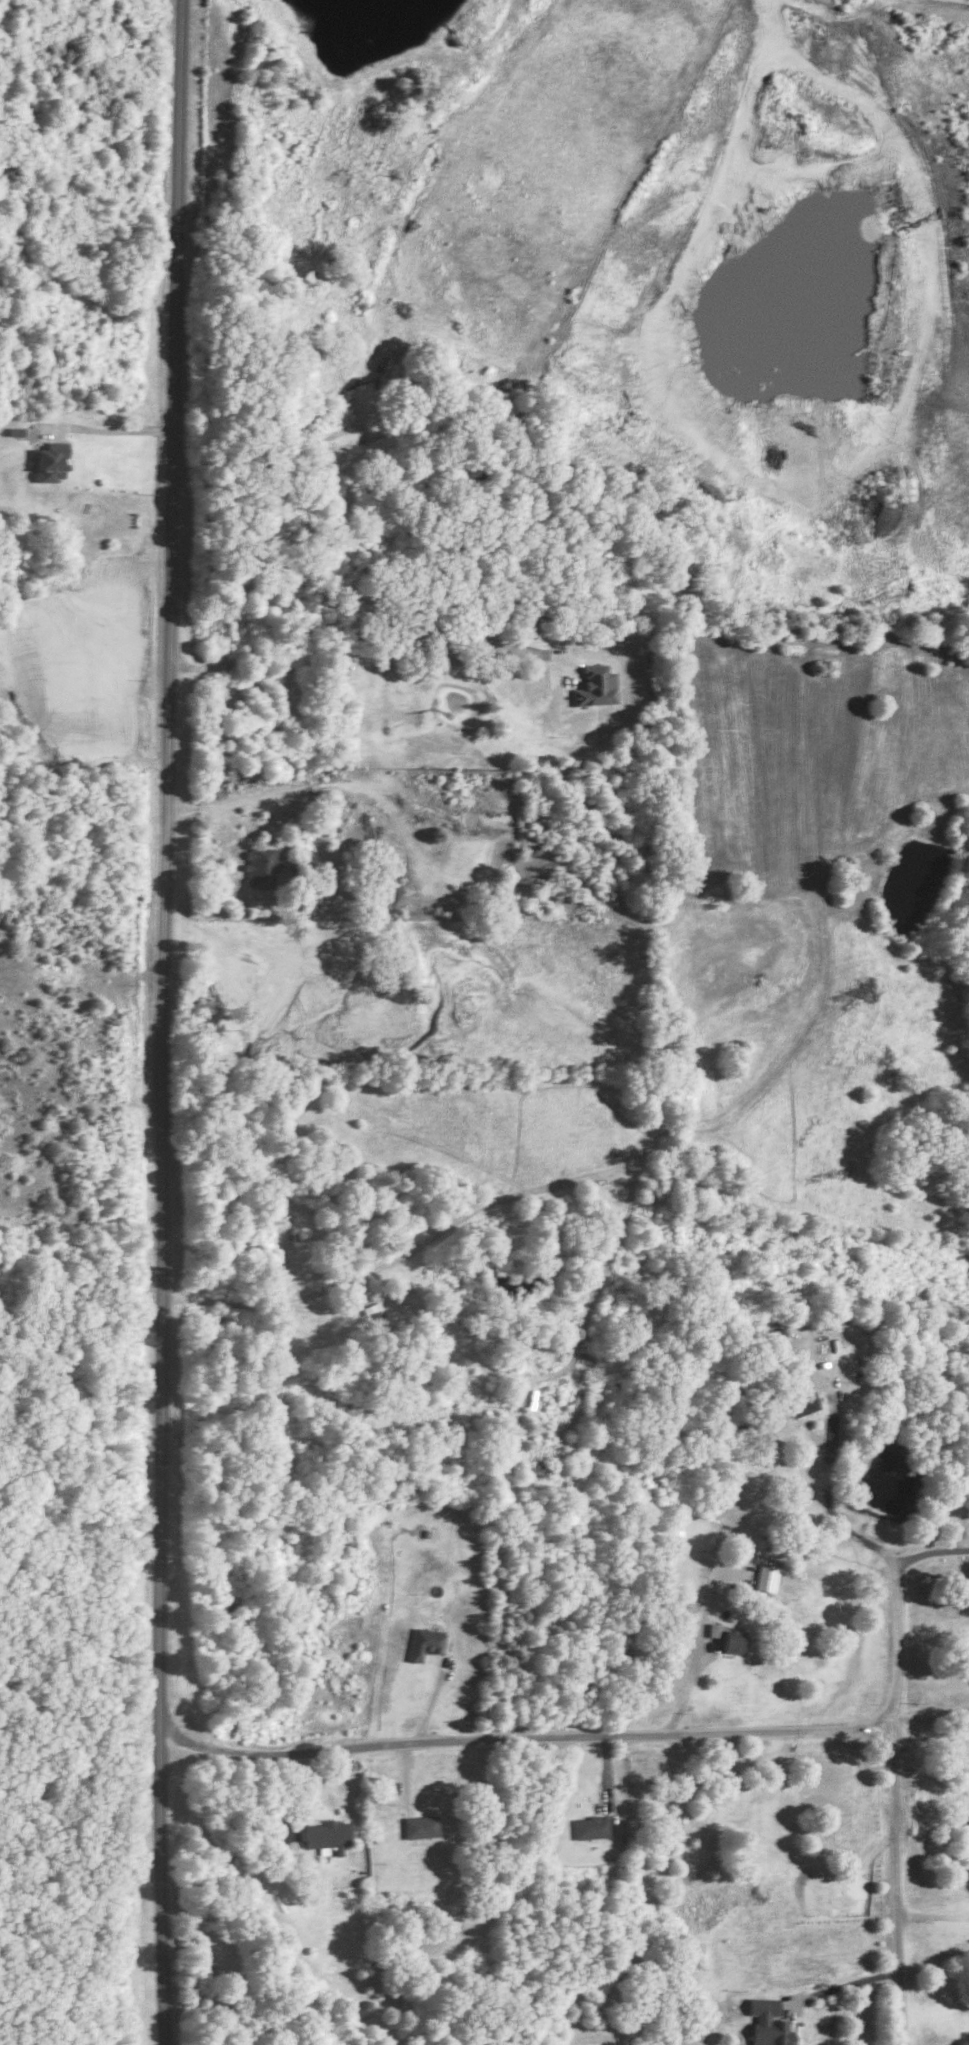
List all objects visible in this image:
road: (121, 429)
building: (50, 460)
road: (371, 621)
building: (596, 685)
building: (261, 867)
road: (165, 1022)
building: (372, 1312)
building: (803, 1402)
road: (827, 1495)
road: (930, 1551)
building: (766, 1577)
building: (715, 1629)
building: (734, 1639)
building: (427, 1642)
road: (685, 1690)
road: (931, 1714)
road: (526, 1738)
road: (896, 1804)
building: (421, 1825)
building: (592, 1826)
building: (327, 1834)
road: (851, 1975)
building: (768, 2022)

